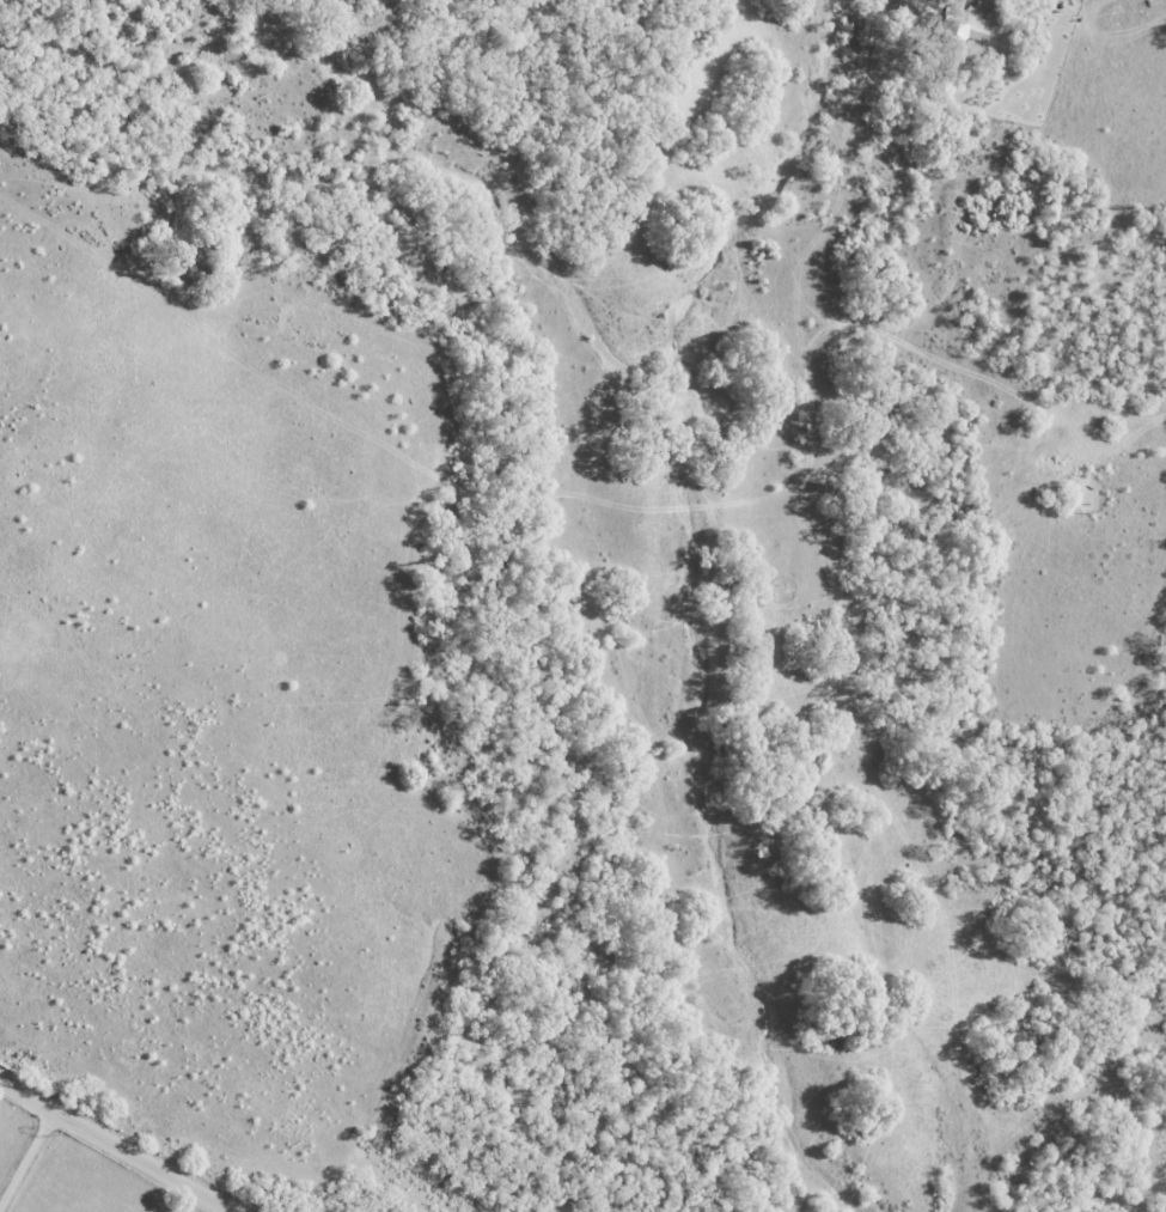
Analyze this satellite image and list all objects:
building: (973, 24)
road: (122, 1147)
road: (28, 1163)

